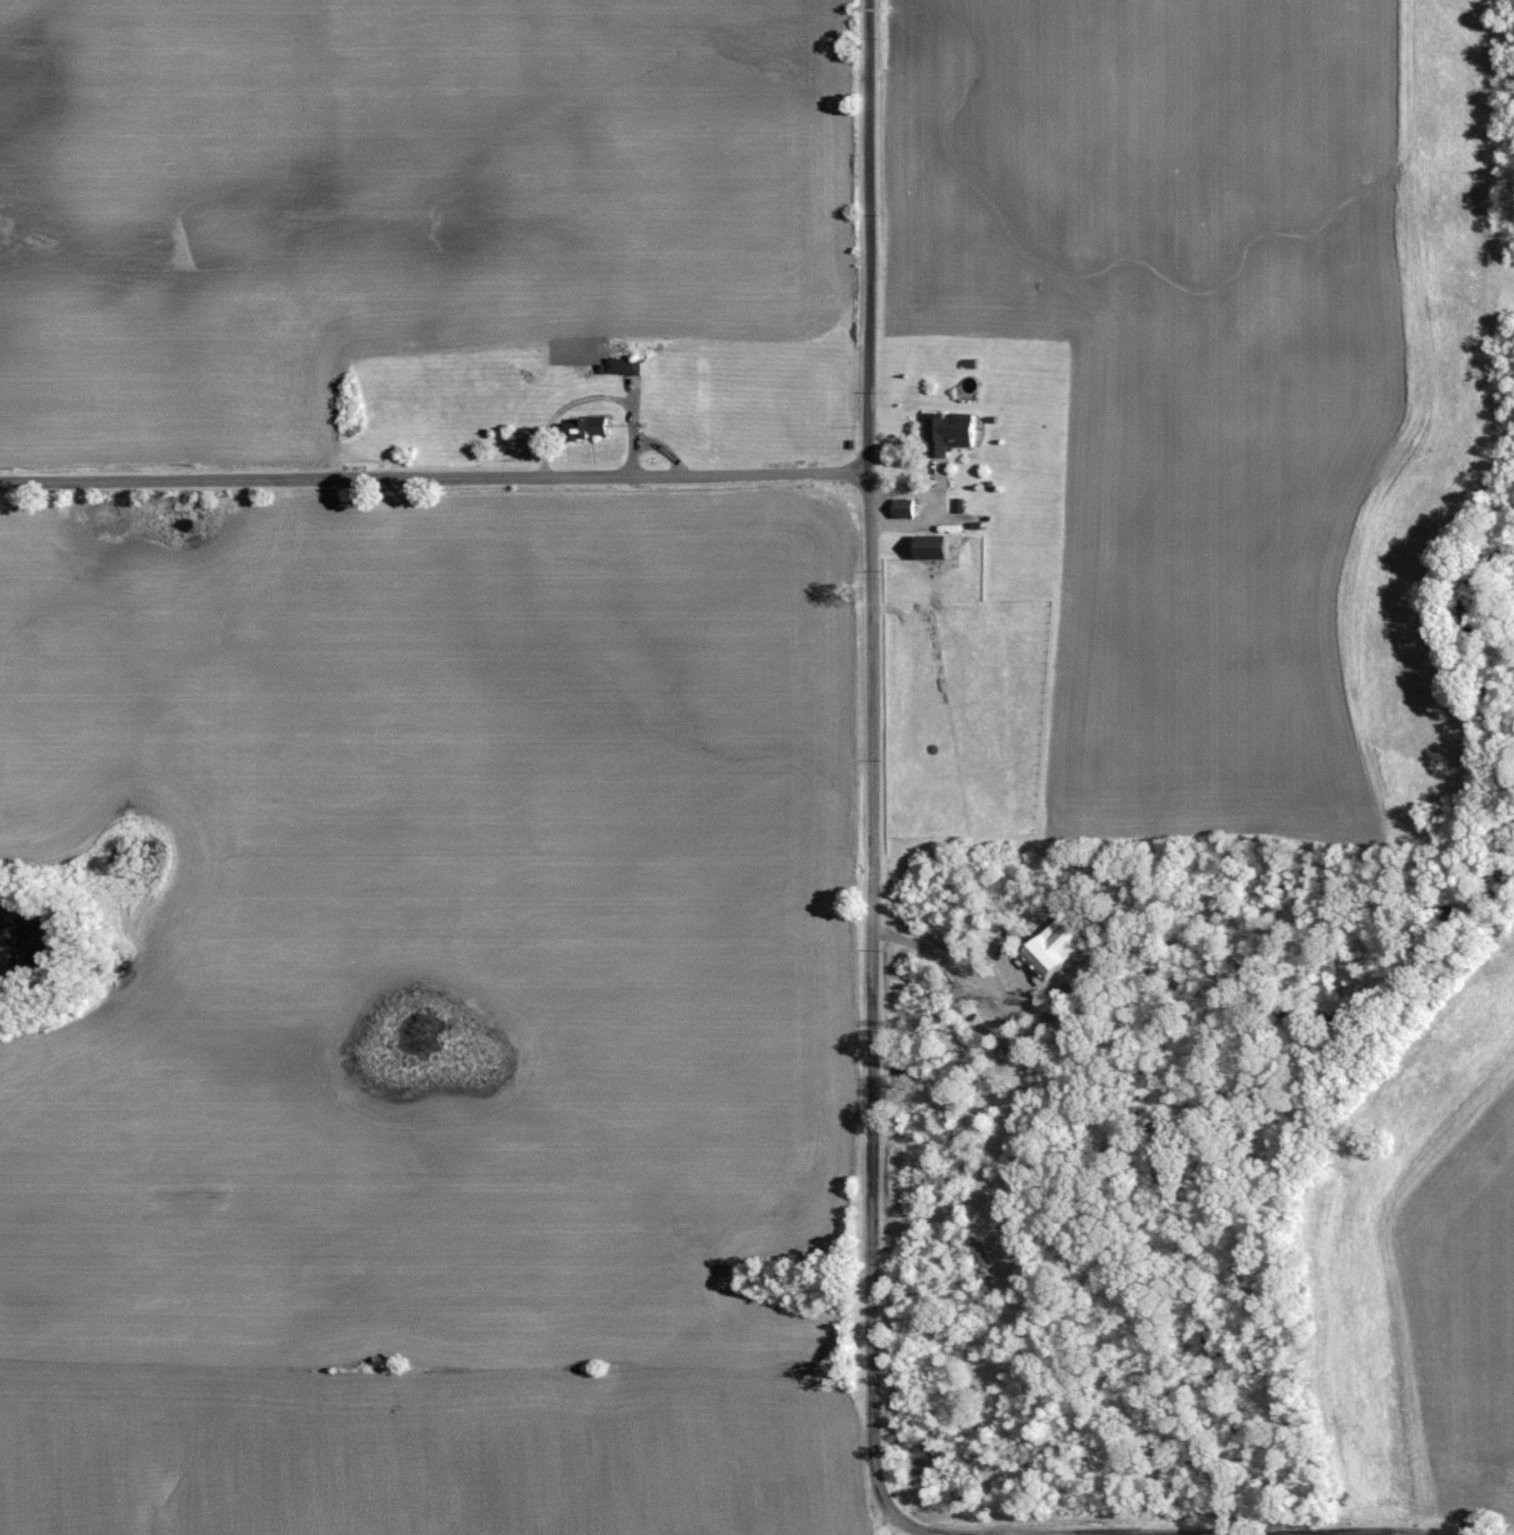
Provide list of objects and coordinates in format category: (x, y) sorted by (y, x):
crop: (388, 200)
crop: (1179, 357)
building: (623, 363)
building: (589, 424)
road: (434, 479)
road: (903, 494)
building: (902, 505)
building: (926, 543)
road: (871, 742)
crop: (496, 789)
crop: (323, 1202)
crop: (1472, 1320)
crop: (417, 1459)
road: (893, 1516)
road: (1308, 1533)

